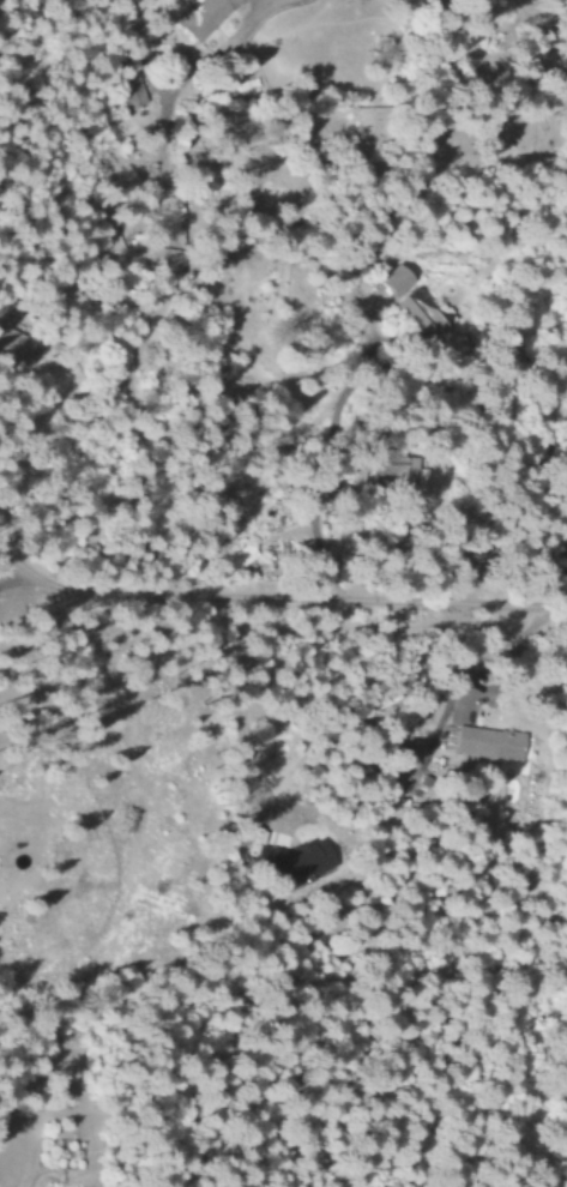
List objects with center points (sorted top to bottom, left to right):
building: (198, 17)
building: (126, 90)
building: (165, 224)
building: (391, 284)
building: (421, 317)
building: (12, 348)
building: (218, 518)
building: (236, 559)
road: (277, 598)
building: (484, 745)

